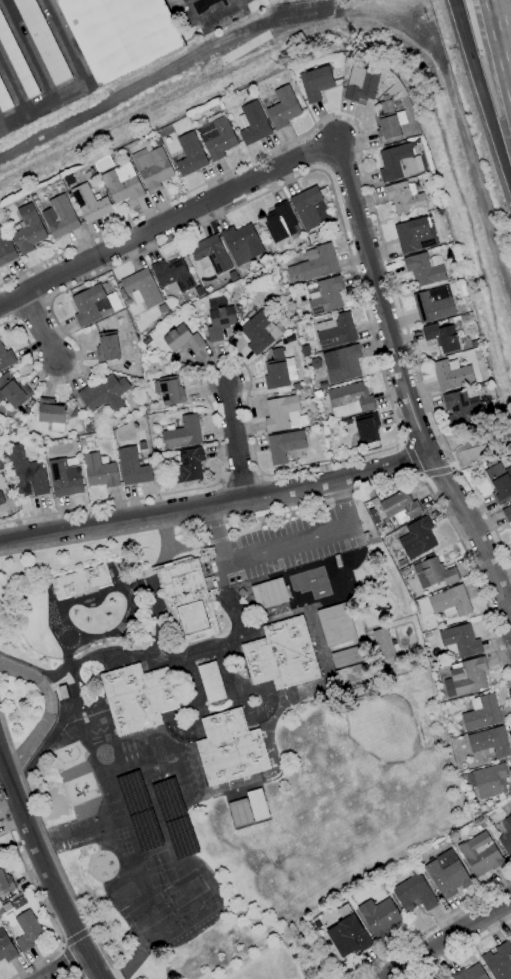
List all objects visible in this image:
building: (111, 36)
building: (41, 41)
road: (500, 50)
road: (76, 79)
building: (316, 83)
building: (361, 83)
road: (482, 92)
building: (3, 99)
building: (283, 108)
building: (389, 123)
building: (253, 124)
building: (216, 135)
building: (190, 154)
road: (361, 160)
building: (397, 163)
building: (154, 168)
building: (122, 183)
building: (404, 198)
building: (91, 203)
building: (309, 208)
building: (60, 217)
building: (0, 218)
road: (167, 221)
building: (279, 222)
building: (28, 230)
building: (415, 235)
building: (241, 243)
building: (6, 248)
building: (211, 253)
building: (313, 264)
building: (424, 270)
building: (172, 275)
building: (142, 288)
building: (326, 296)
building: (434, 304)
building: (89, 305)
building: (237, 309)
road: (31, 312)
building: (218, 322)
road: (38, 324)
building: (257, 331)
building: (335, 331)
building: (441, 337)
building: (182, 339)
building: (107, 347)
building: (6, 358)
building: (342, 363)
building: (278, 372)
road: (381, 374)
building: (451, 375)
building: (322, 385)
building: (13, 391)
building: (170, 391)
building: (319, 393)
building: (104, 394)
road: (405, 395)
building: (350, 399)
building: (462, 408)
building: (51, 413)
building: (283, 414)
building: (90, 427)
building: (367, 428)
building: (182, 433)
road: (232, 441)
building: (284, 445)
road: (472, 445)
road: (411, 457)
building: (186, 466)
building: (132, 467)
building: (99, 471)
building: (26, 472)
road: (439, 472)
road: (240, 477)
building: (64, 478)
building: (499, 482)
building: (1, 489)
road: (331, 495)
building: (1, 499)
road: (214, 503)
building: (399, 508)
building: (507, 514)
building: (372, 516)
building: (417, 538)
road: (282, 547)
building: (401, 562)
building: (434, 573)
building: (80, 581)
building: (268, 593)
building: (188, 601)
building: (450, 602)
building: (336, 625)
building: (460, 640)
building: (383, 644)
building: (281, 655)
building: (347, 657)
building: (350, 675)
building: (466, 677)
building: (211, 682)
building: (62, 692)
building: (137, 697)
building: (481, 712)
road: (49, 713)
building: (489, 742)
building: (230, 748)
building: (488, 780)
road: (10, 792)
building: (247, 808)
building: (510, 813)
building: (506, 838)
road: (51, 848)
building: (480, 854)
building: (447, 874)
building: (5, 882)
building: (414, 893)
road: (59, 901)
road: (42, 904)
building: (4, 908)
building: (380, 917)
road: (436, 924)
building: (26, 930)
building: (348, 934)
road: (73, 936)
building: (510, 937)
building: (510, 939)
road: (451, 940)
building: (6, 948)
road: (463, 949)
park: (262, 957)
road: (294, 957)
road: (67, 961)
building: (498, 961)
road: (62, 965)
building: (469, 973)
road: (166, 974)

